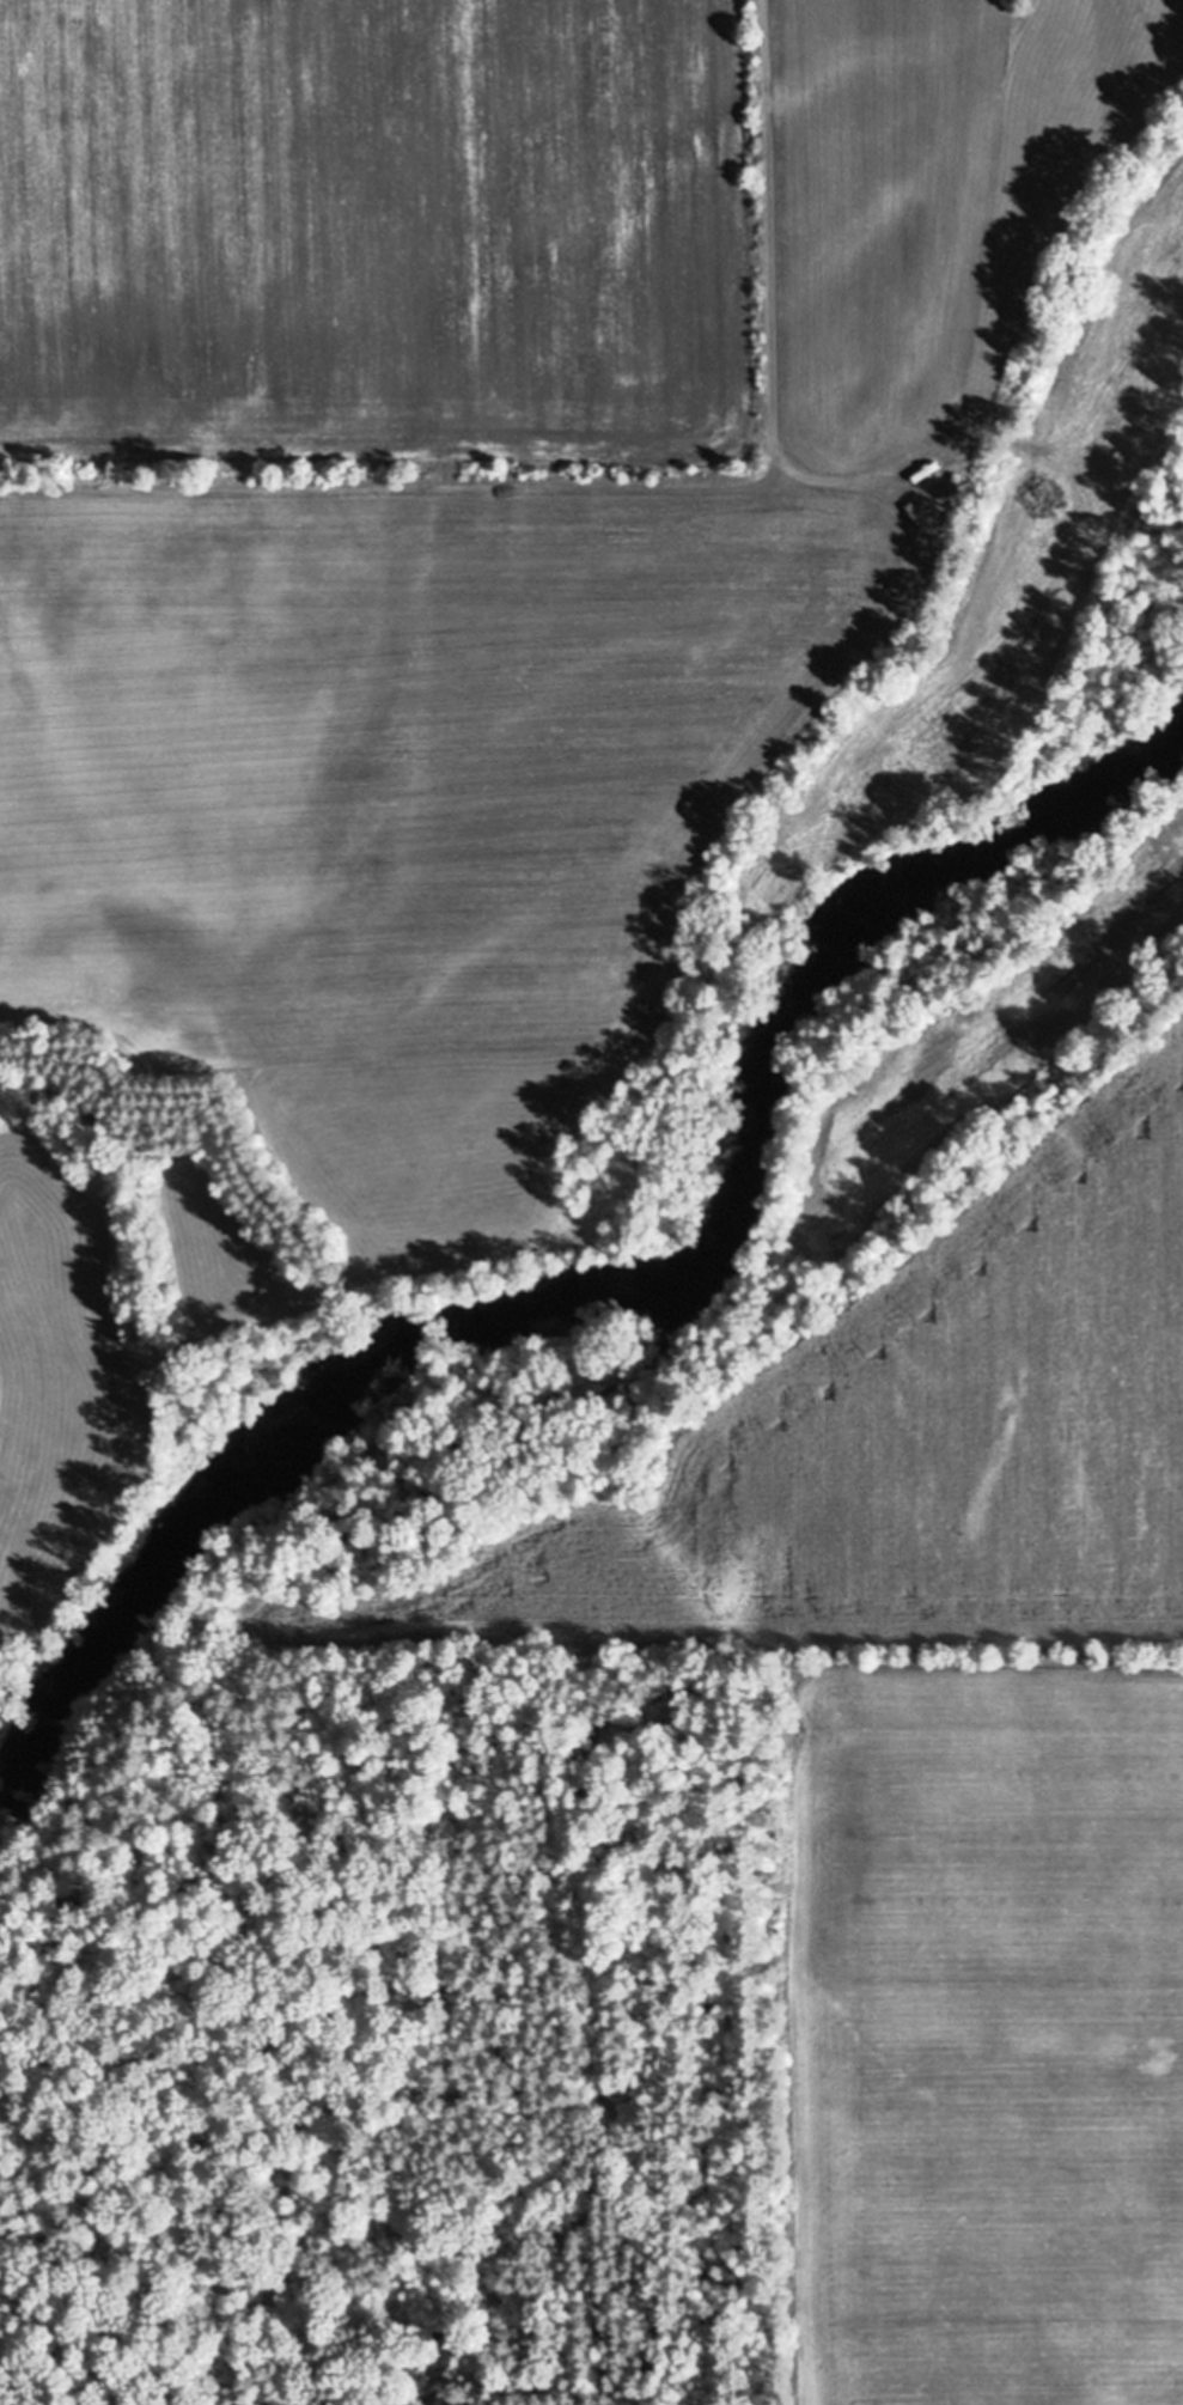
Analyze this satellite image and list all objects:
river: (628, 1284)

